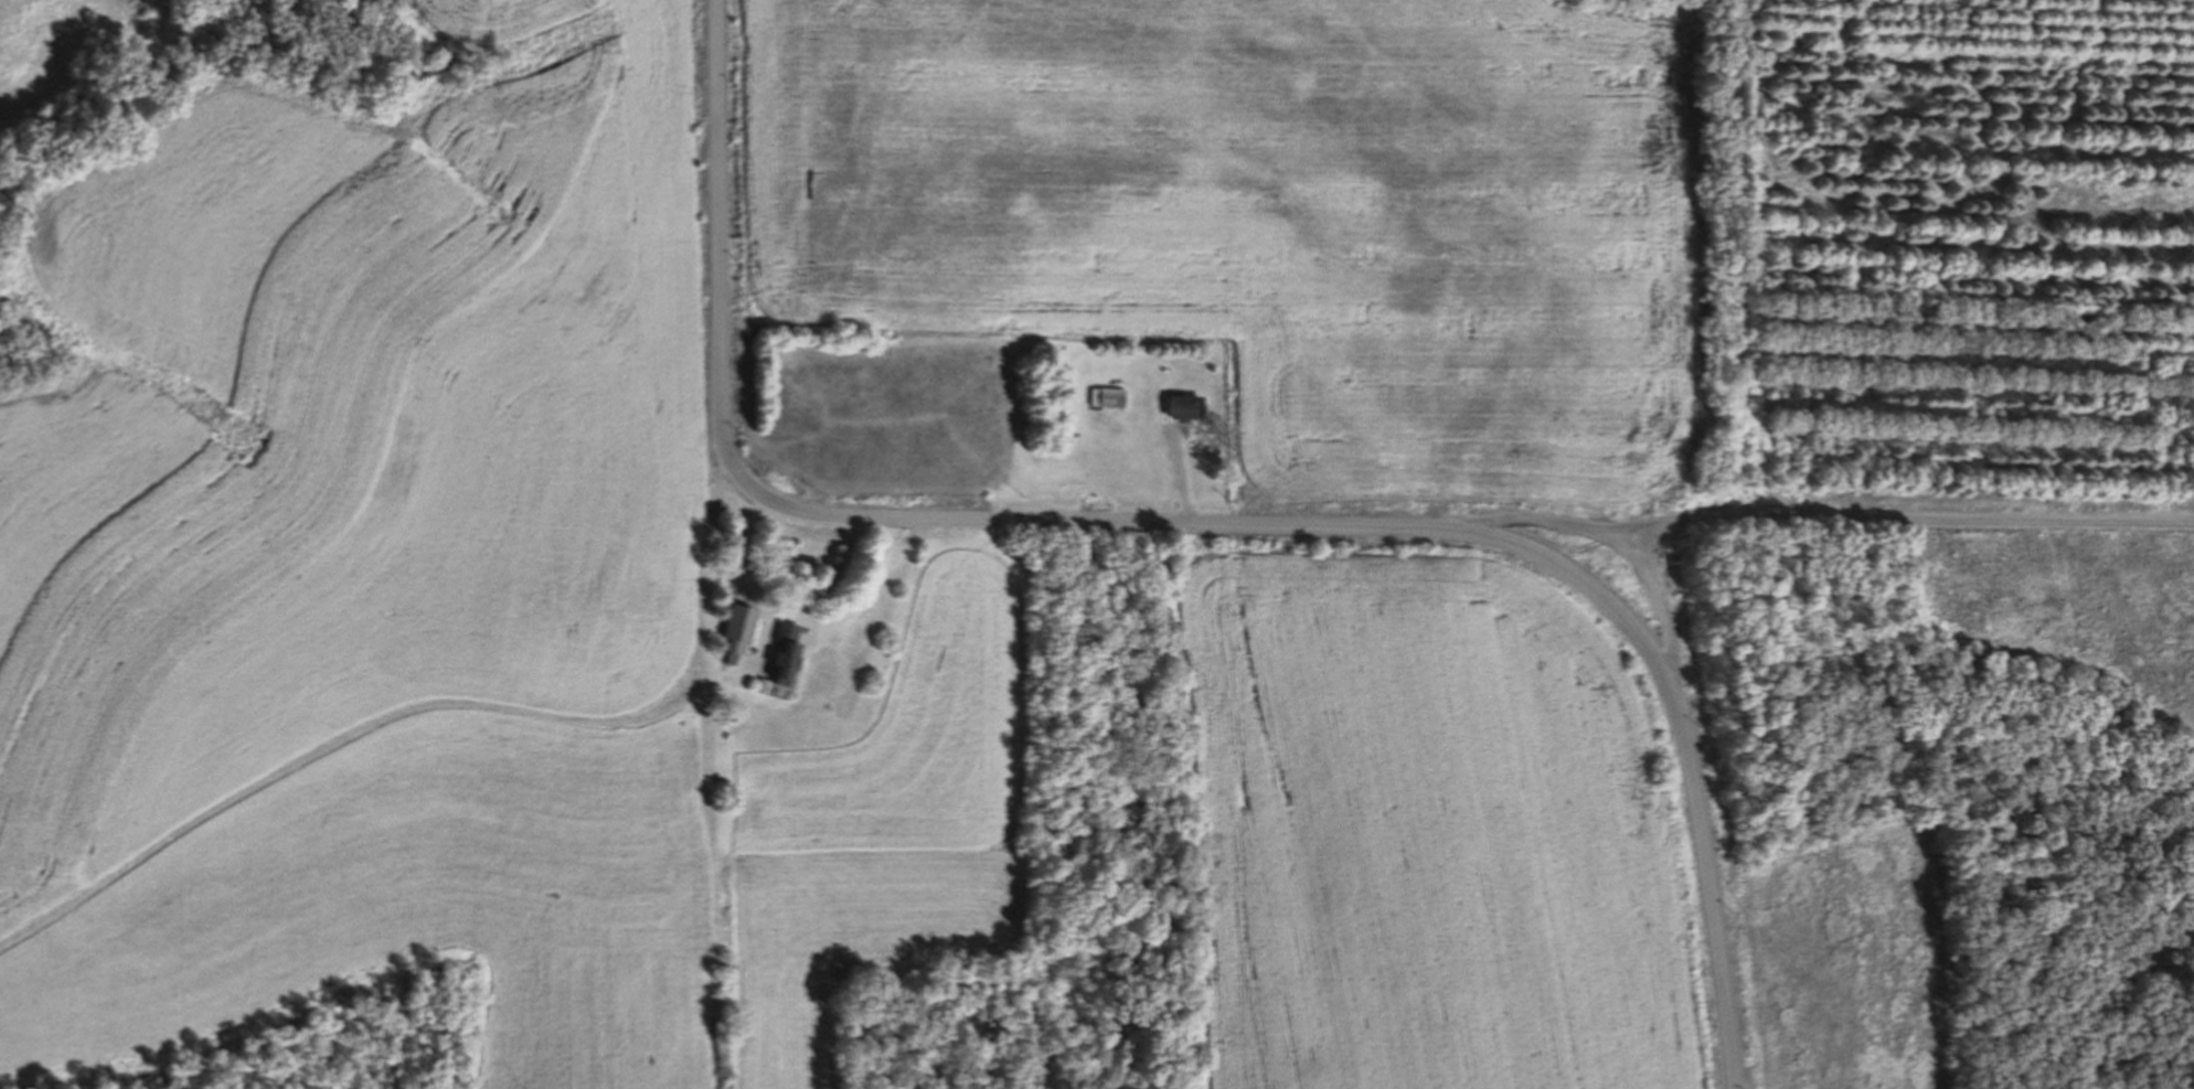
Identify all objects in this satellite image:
building: (1109, 398)
building: (1187, 408)
road: (1820, 514)
road: (1195, 519)
road: (1665, 616)
building: (743, 631)
building: (790, 654)
building: (768, 687)

